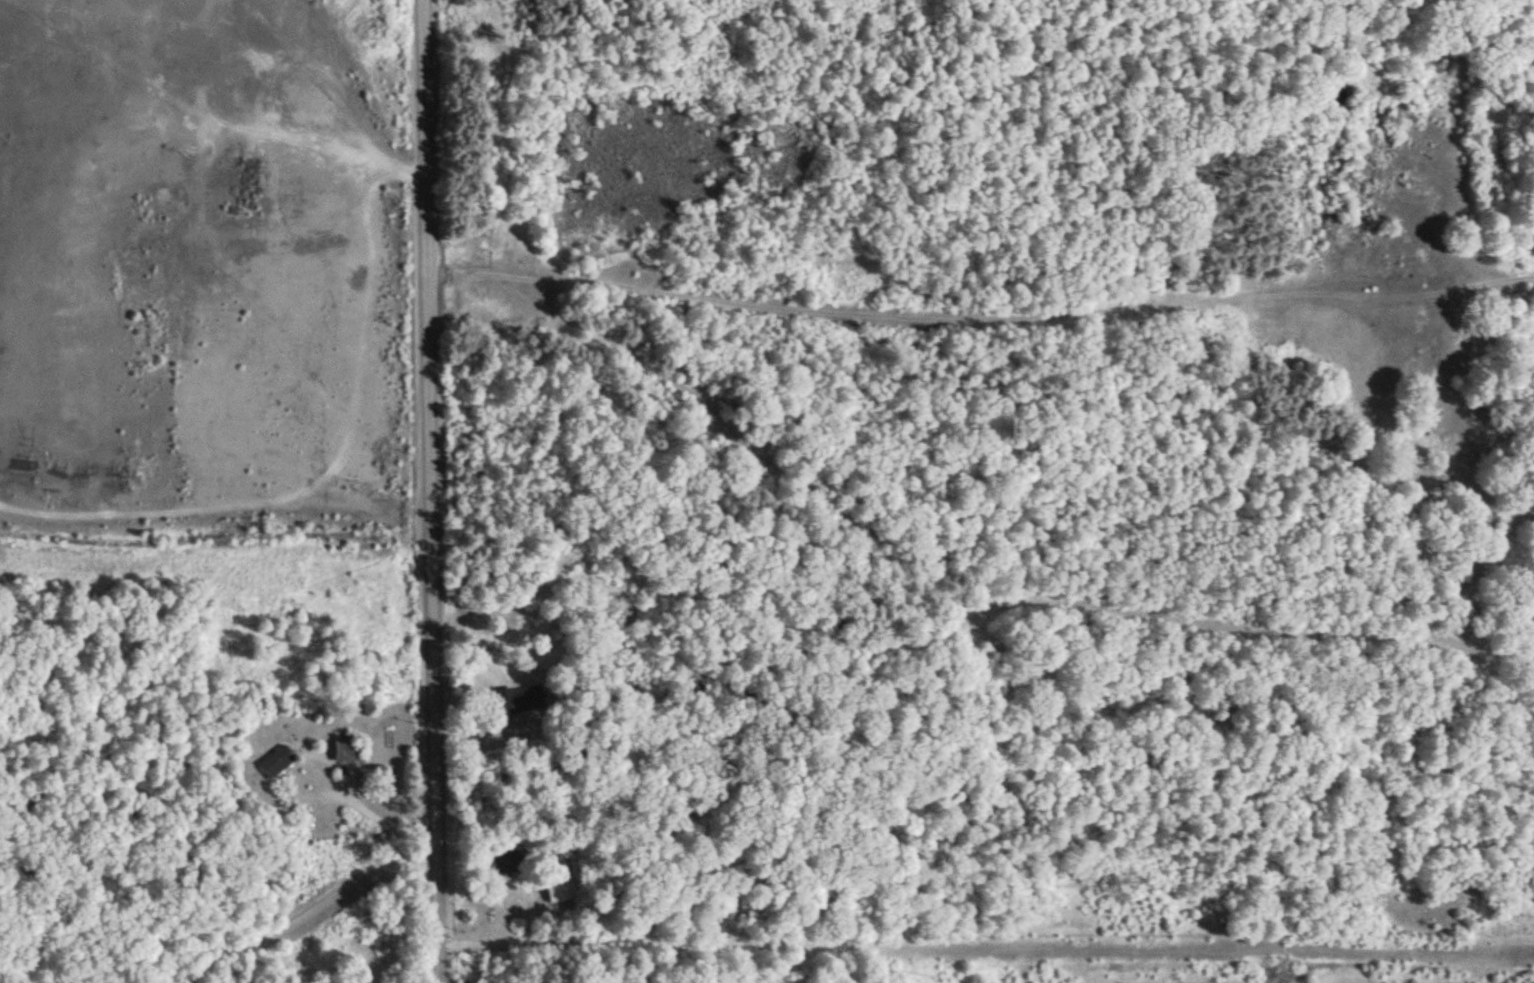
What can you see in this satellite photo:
road: (980, 316)
road: (429, 491)
building: (521, 700)
building: (350, 751)
building: (278, 762)
road: (386, 821)
building: (505, 862)
road: (308, 911)

